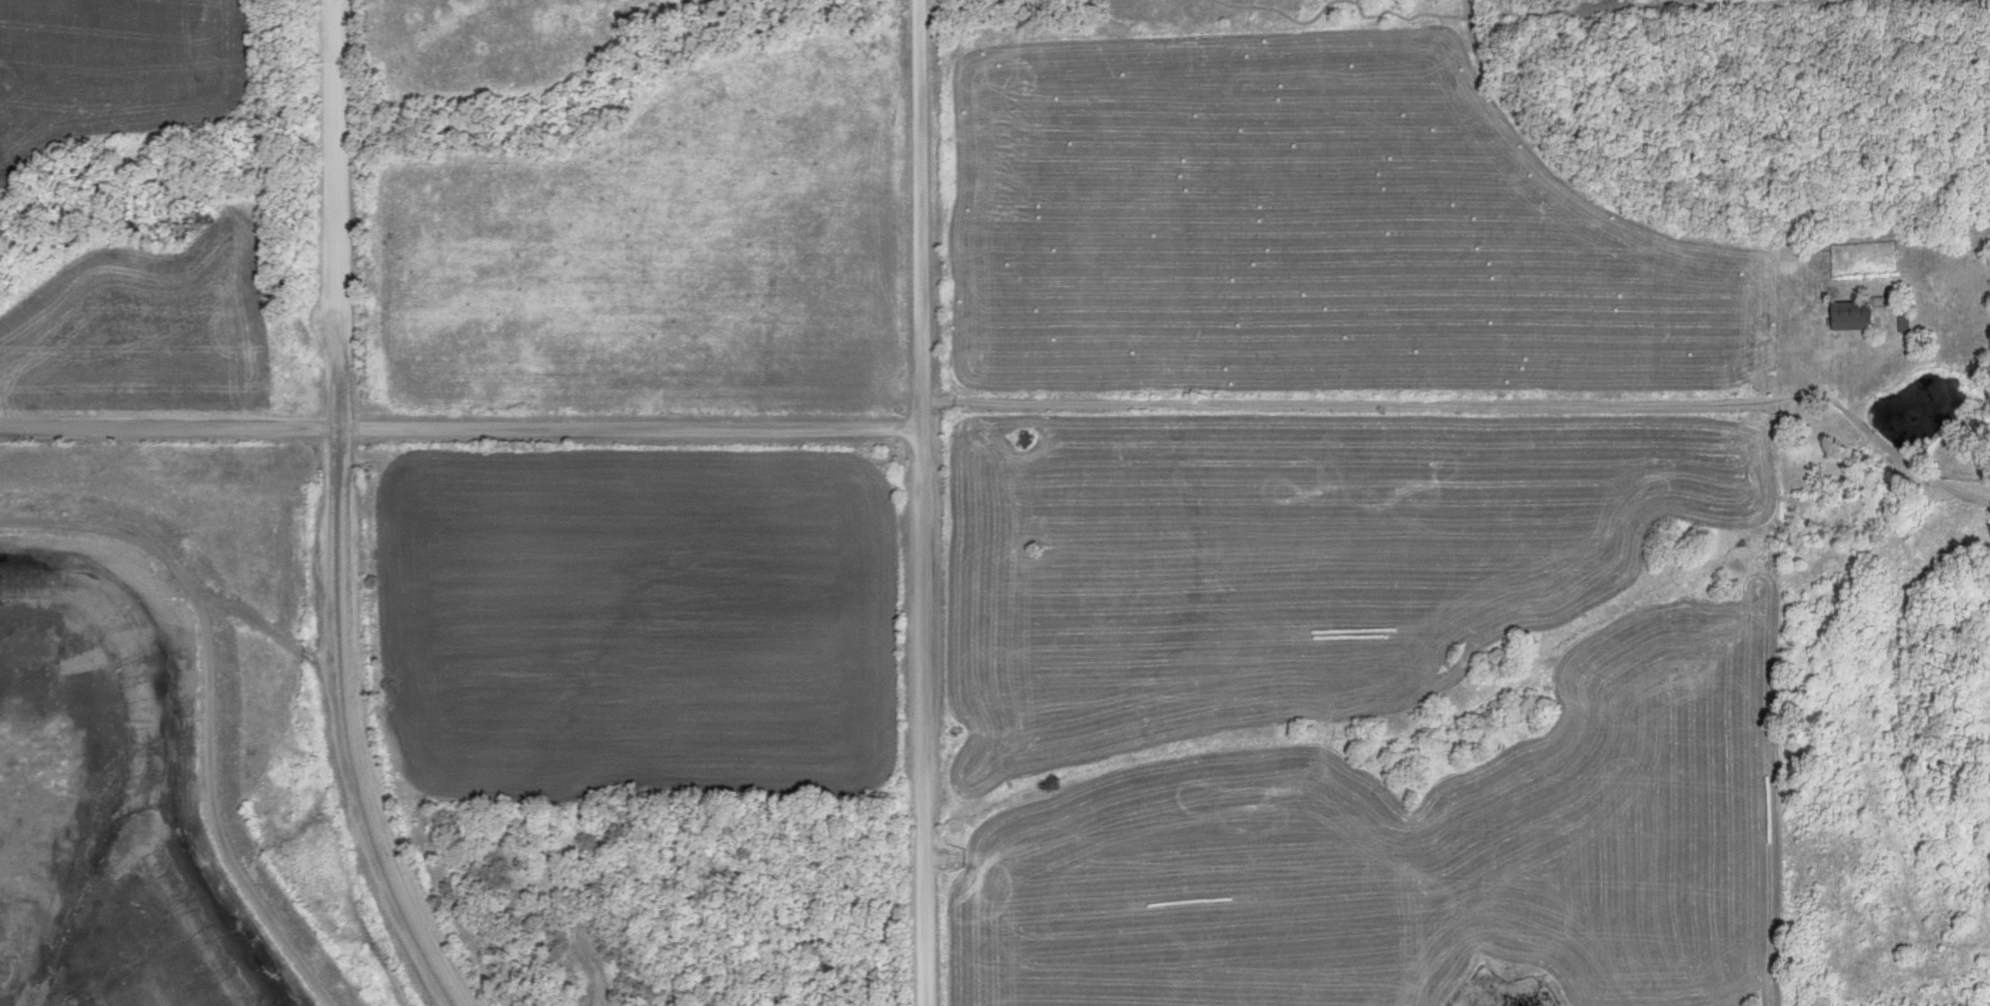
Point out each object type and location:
building: (1851, 314)
building: (1902, 320)
road: (1479, 409)
road: (464, 432)
road: (930, 502)
road: (344, 515)
road: (185, 564)
road: (220, 818)

